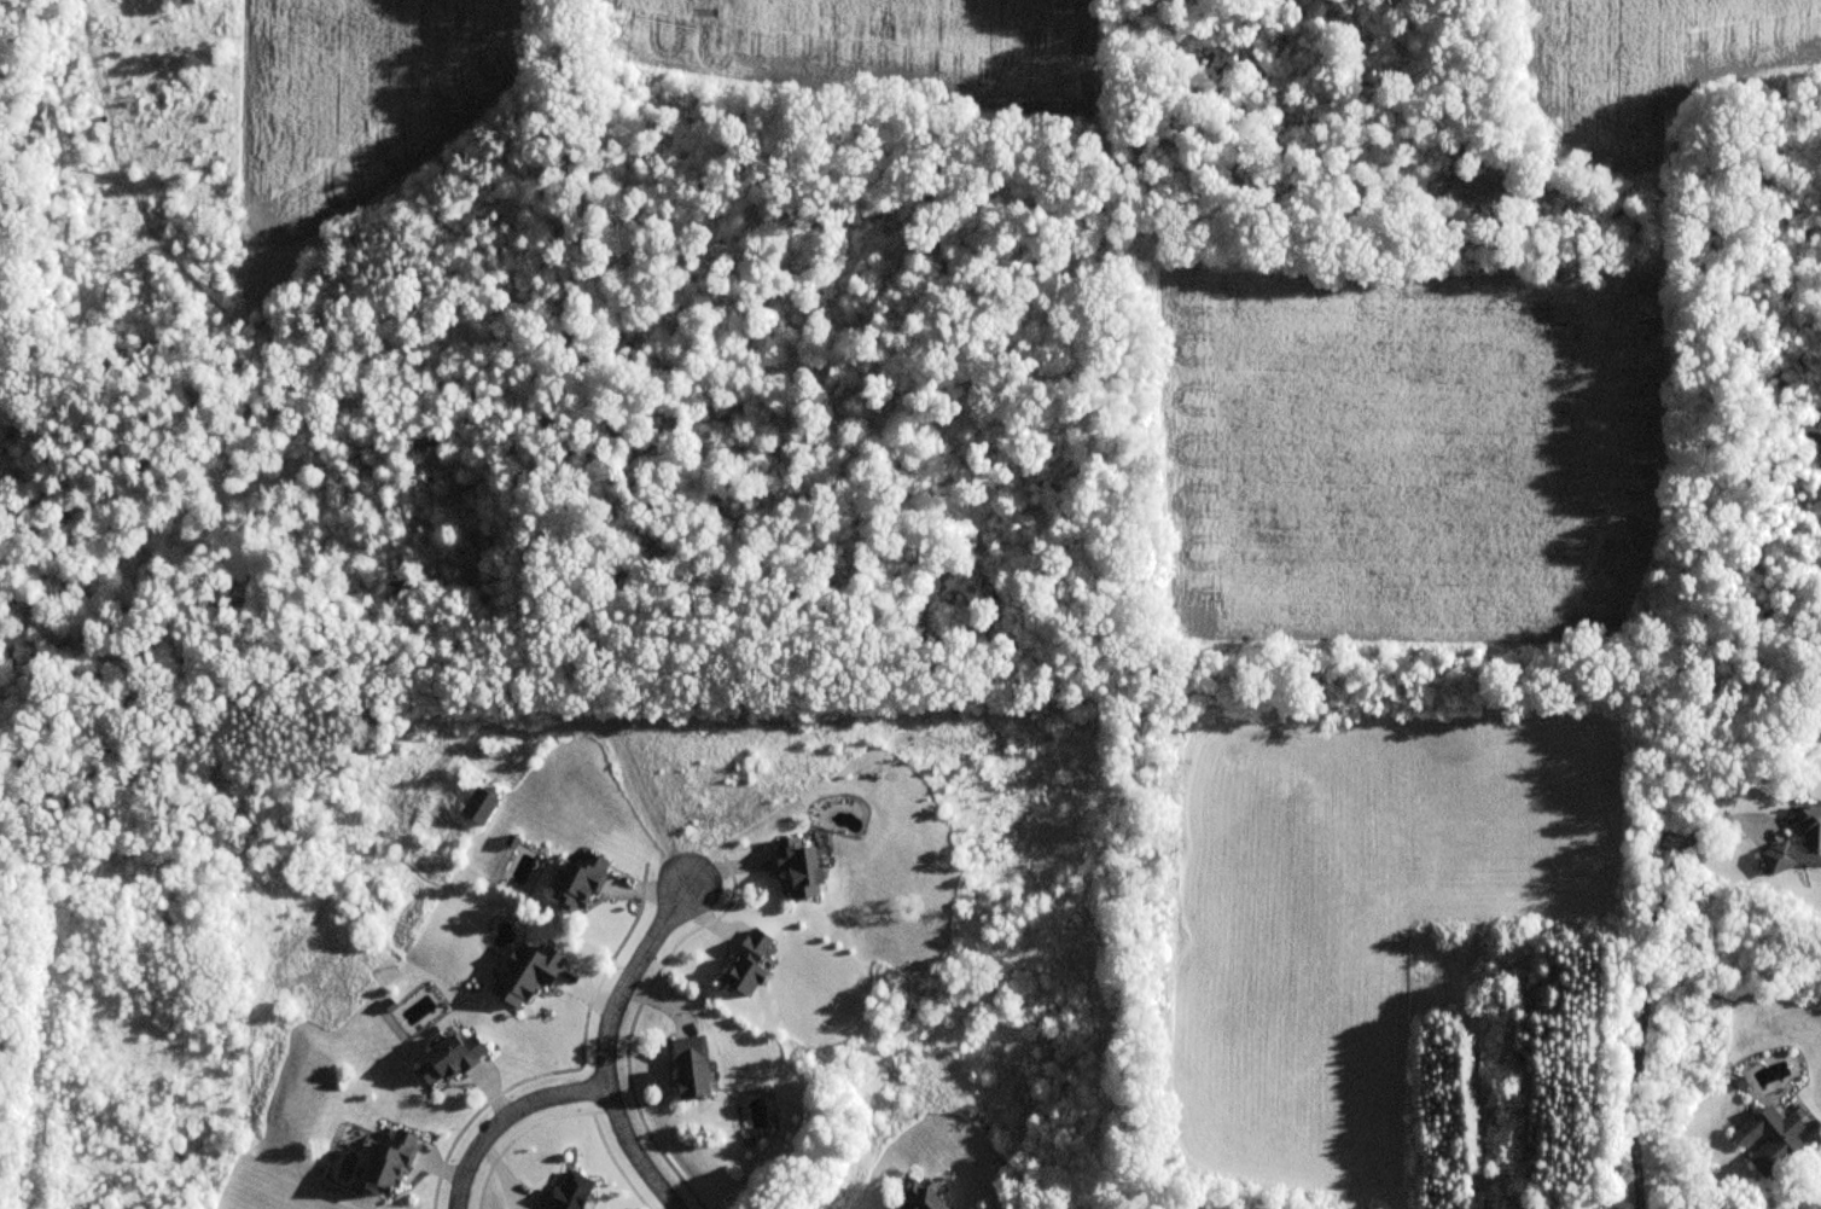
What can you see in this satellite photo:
building: (478, 807)
building: (1798, 845)
building: (799, 868)
building: (576, 885)
road: (1645, 1002)
road: (606, 1044)
building: (448, 1057)
building: (690, 1066)
road: (506, 1117)
building: (1769, 1138)
building: (389, 1162)
building: (915, 1197)
road: (1797, 1208)

